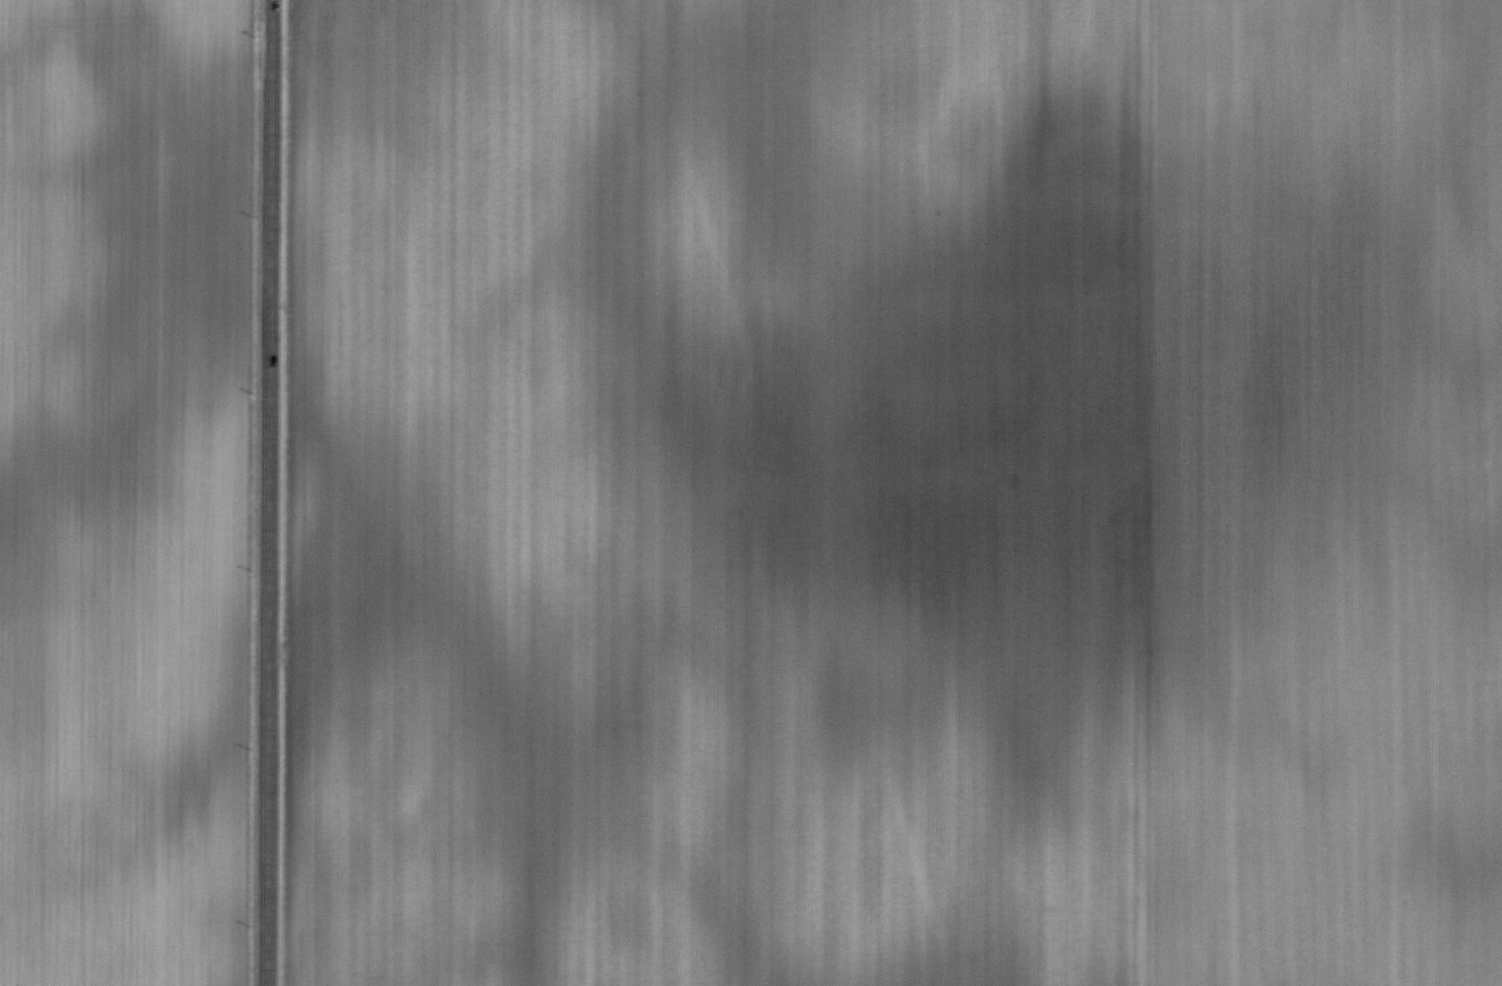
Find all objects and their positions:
road: (257, 493)

